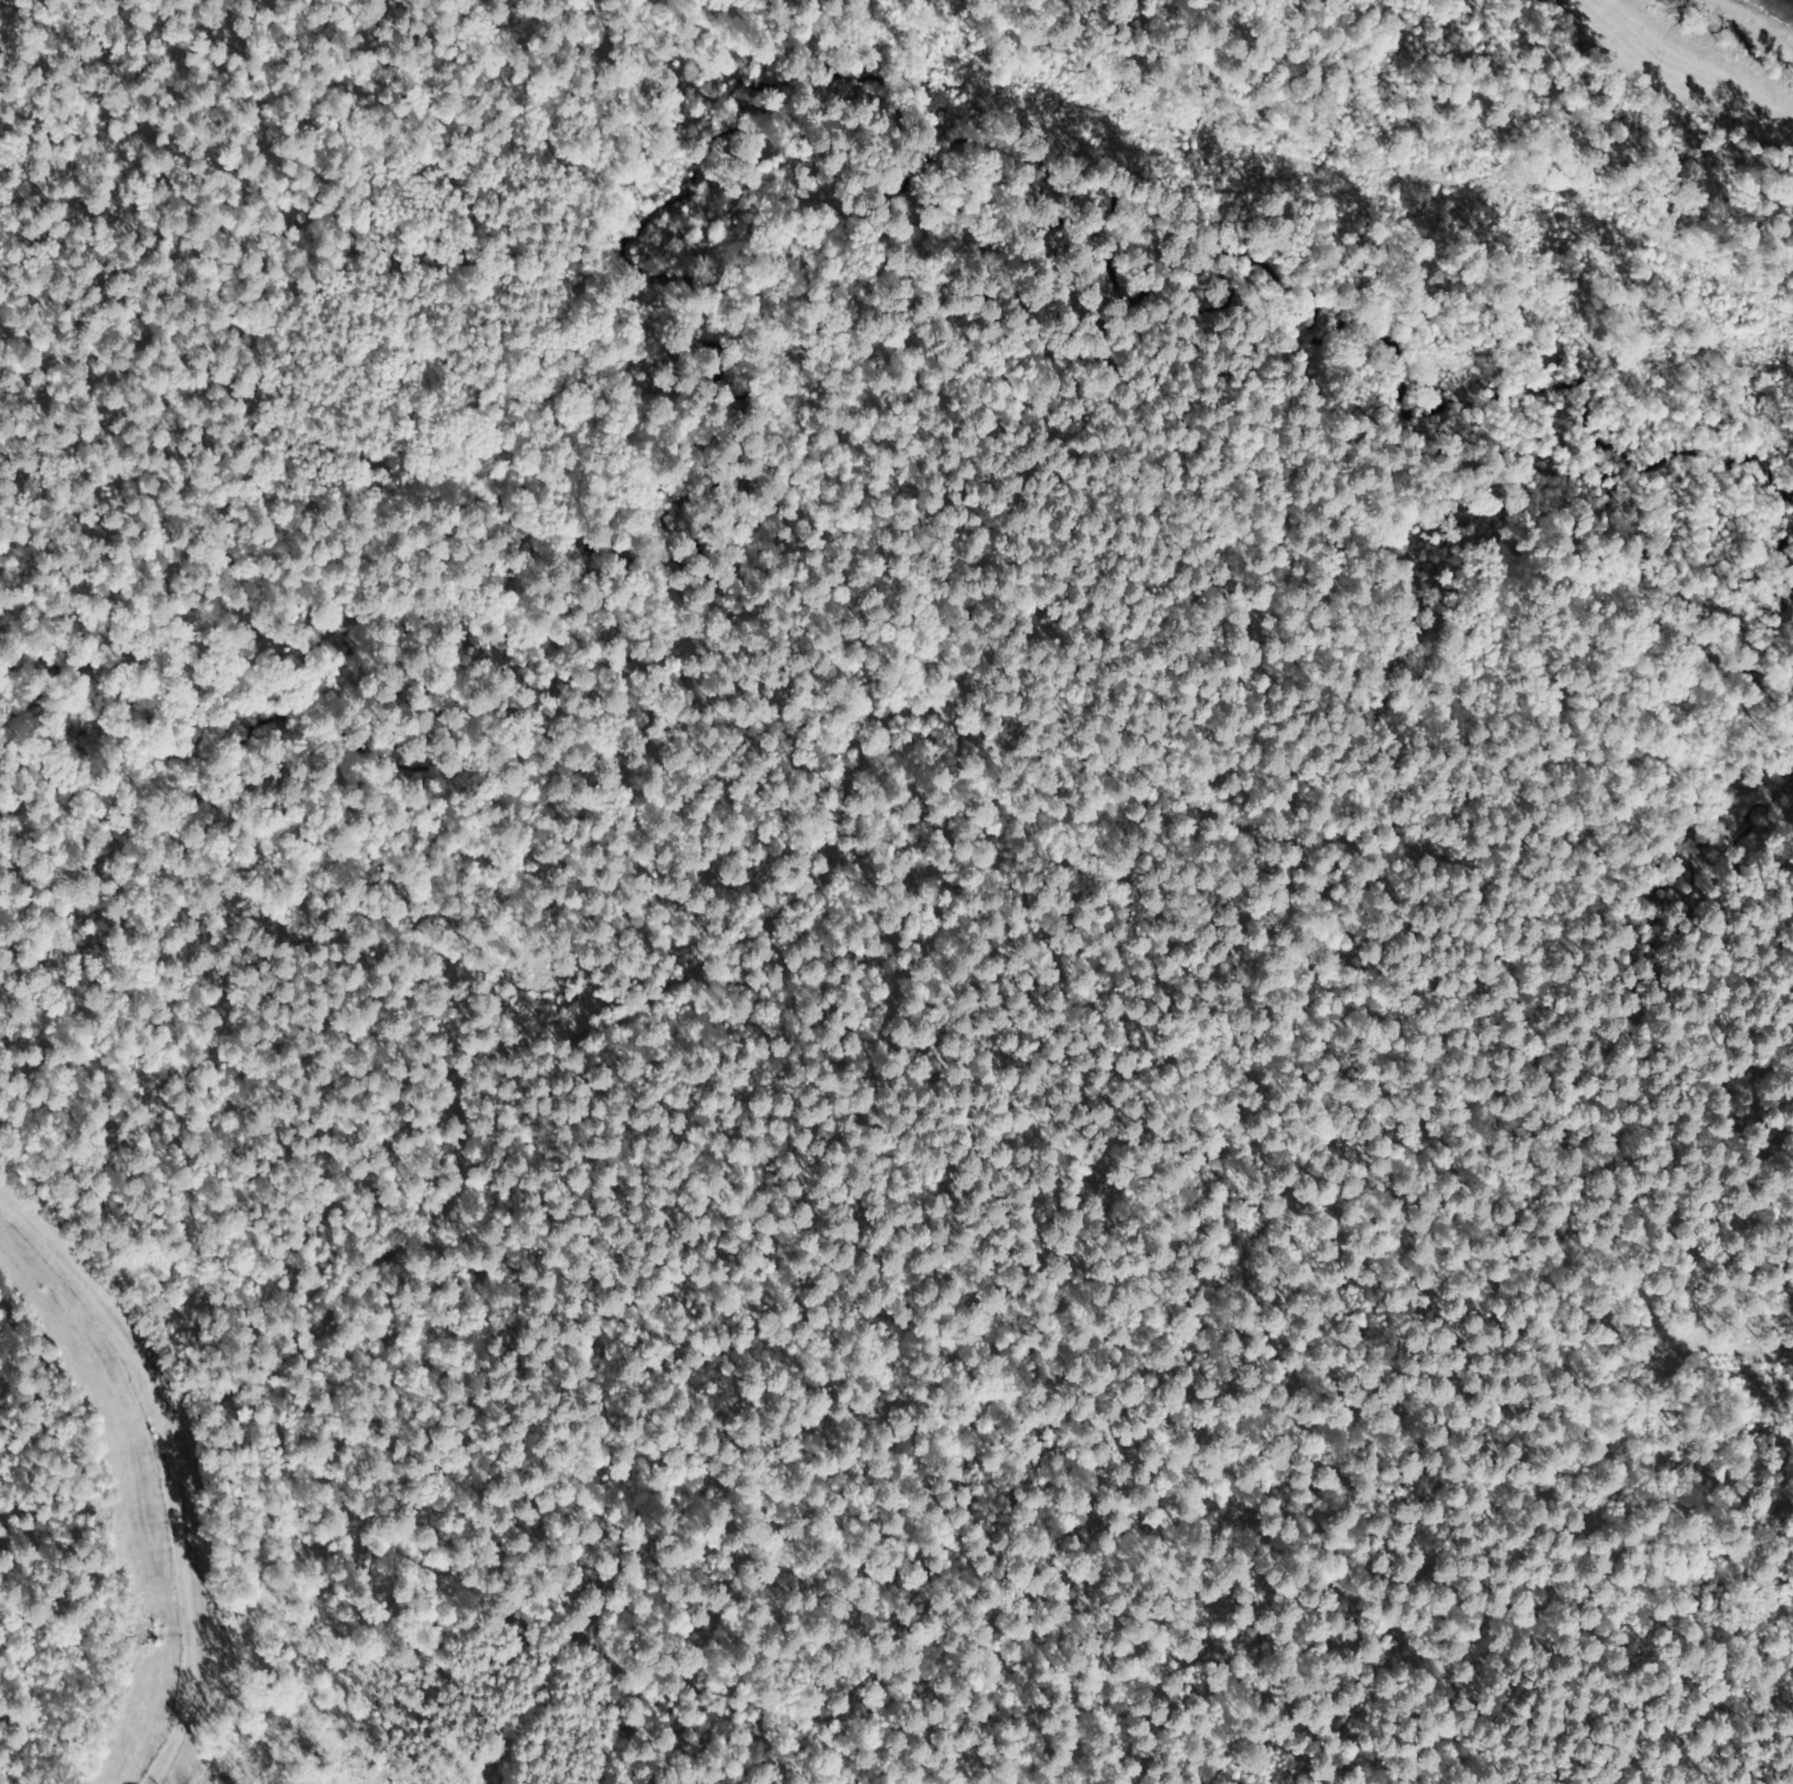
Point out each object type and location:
road: (202, 1443)

